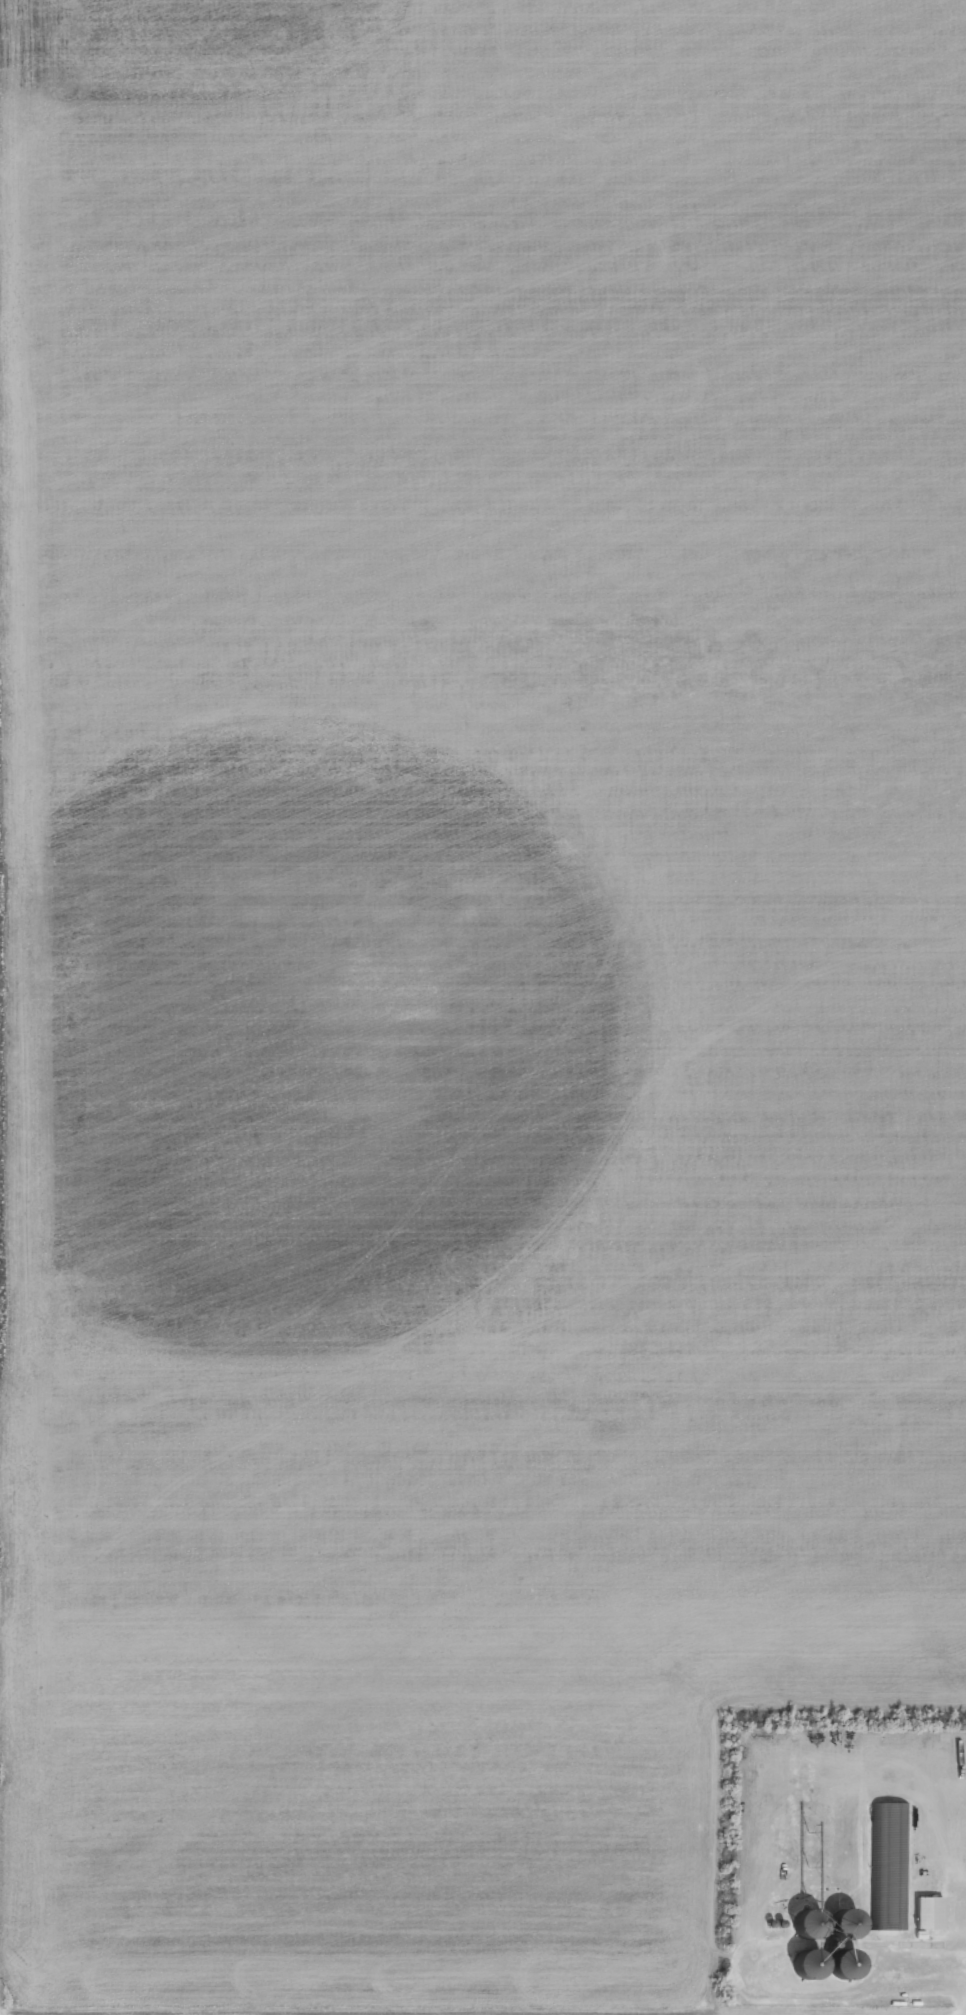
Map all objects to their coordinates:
building: (887, 1867)
building: (926, 1914)
building: (823, 1919)
building: (841, 1966)
building: (803, 1967)

